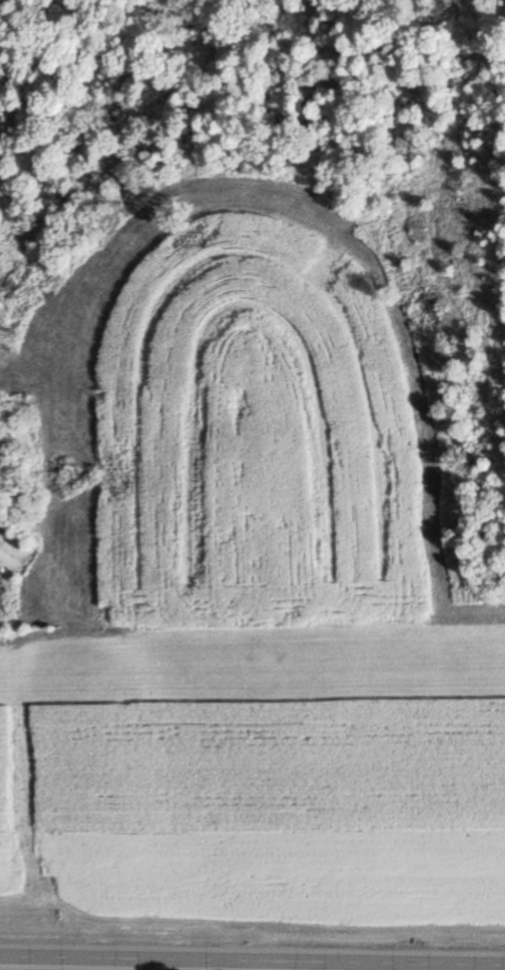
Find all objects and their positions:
road: (252, 954)

